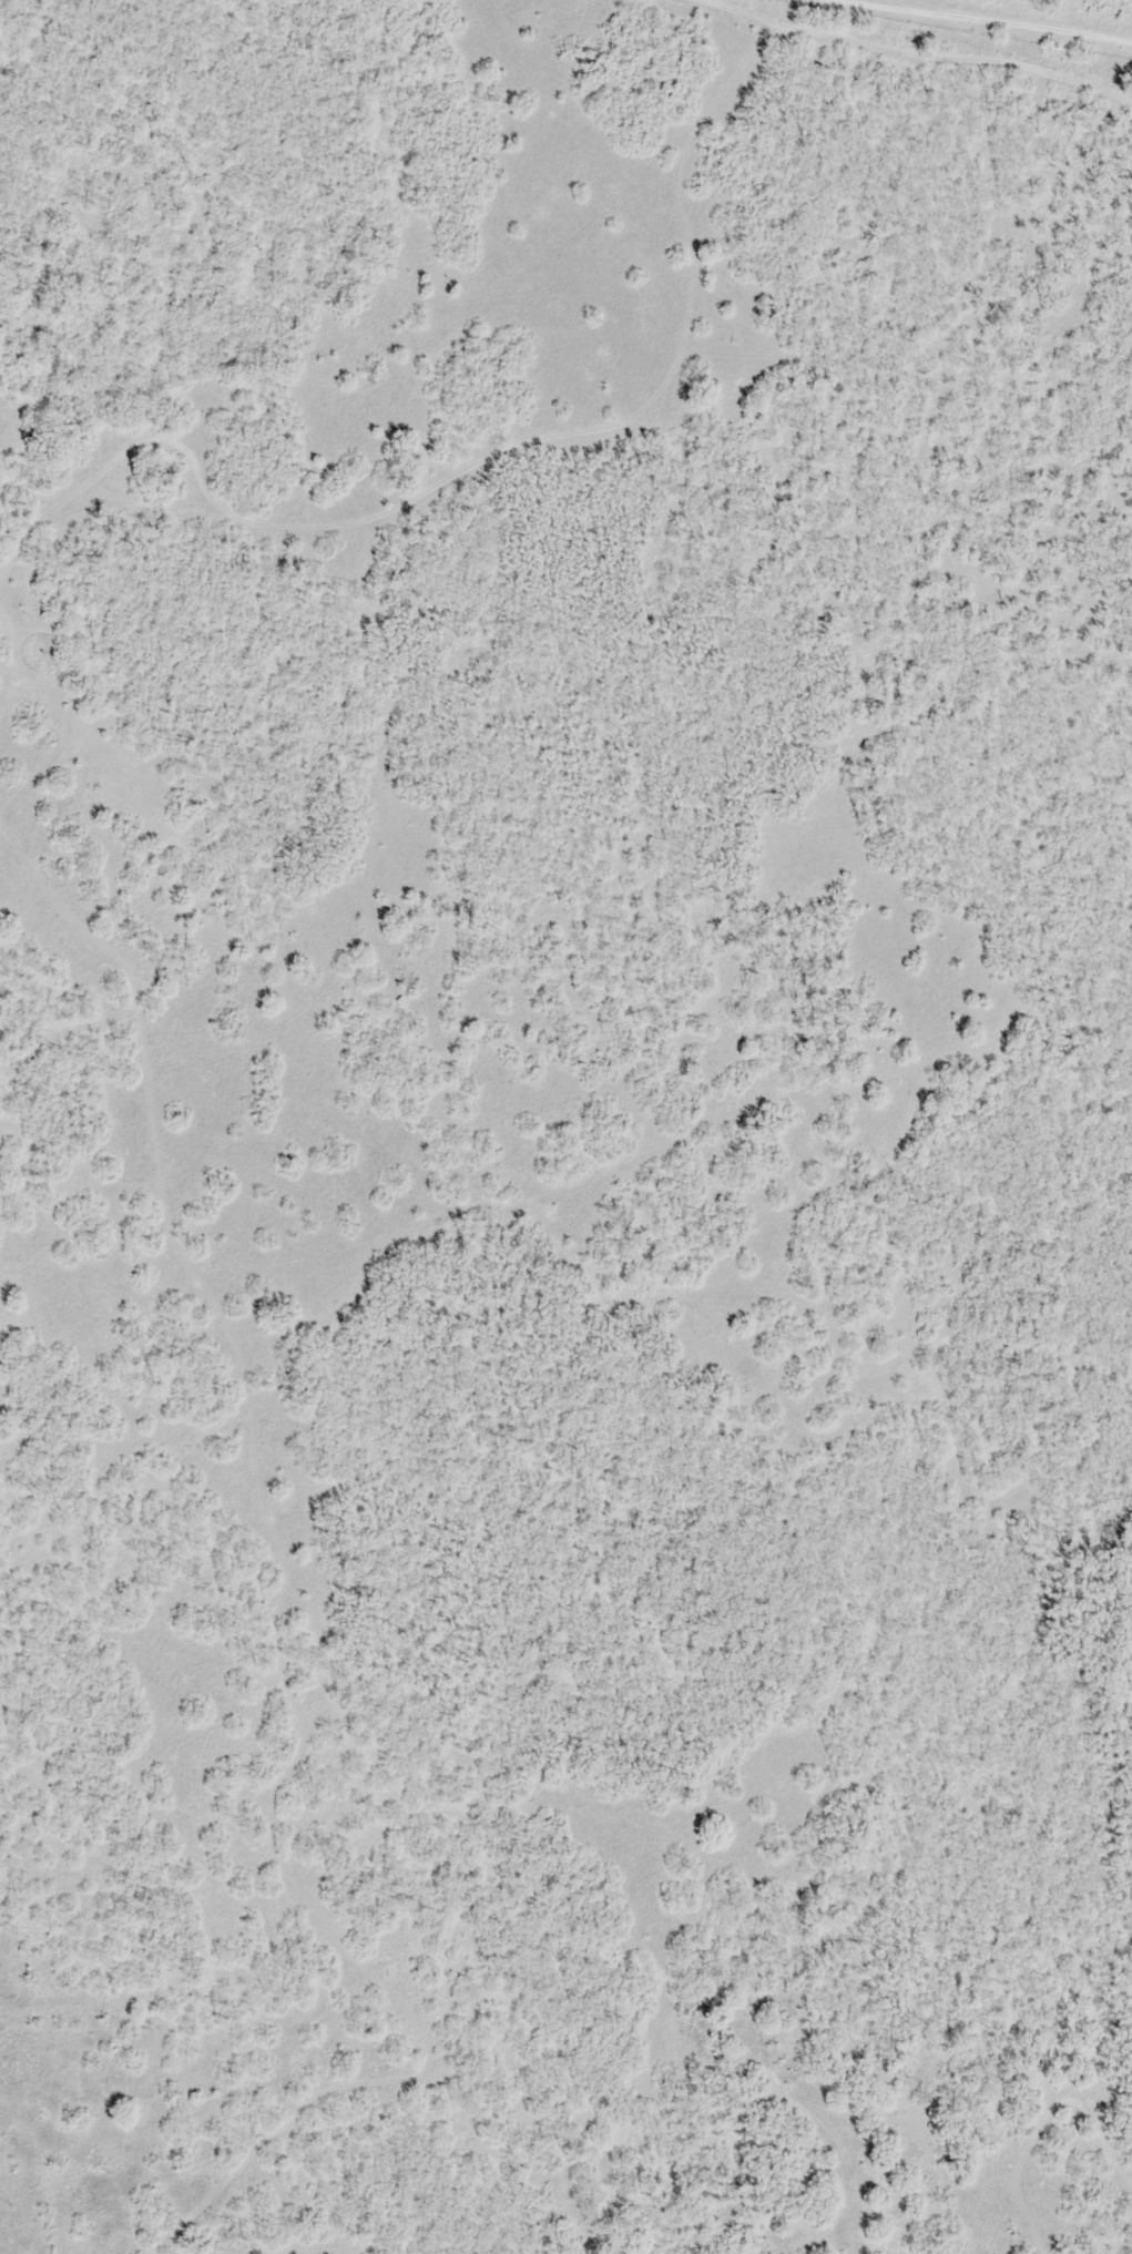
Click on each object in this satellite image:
road: (1032, 18)

